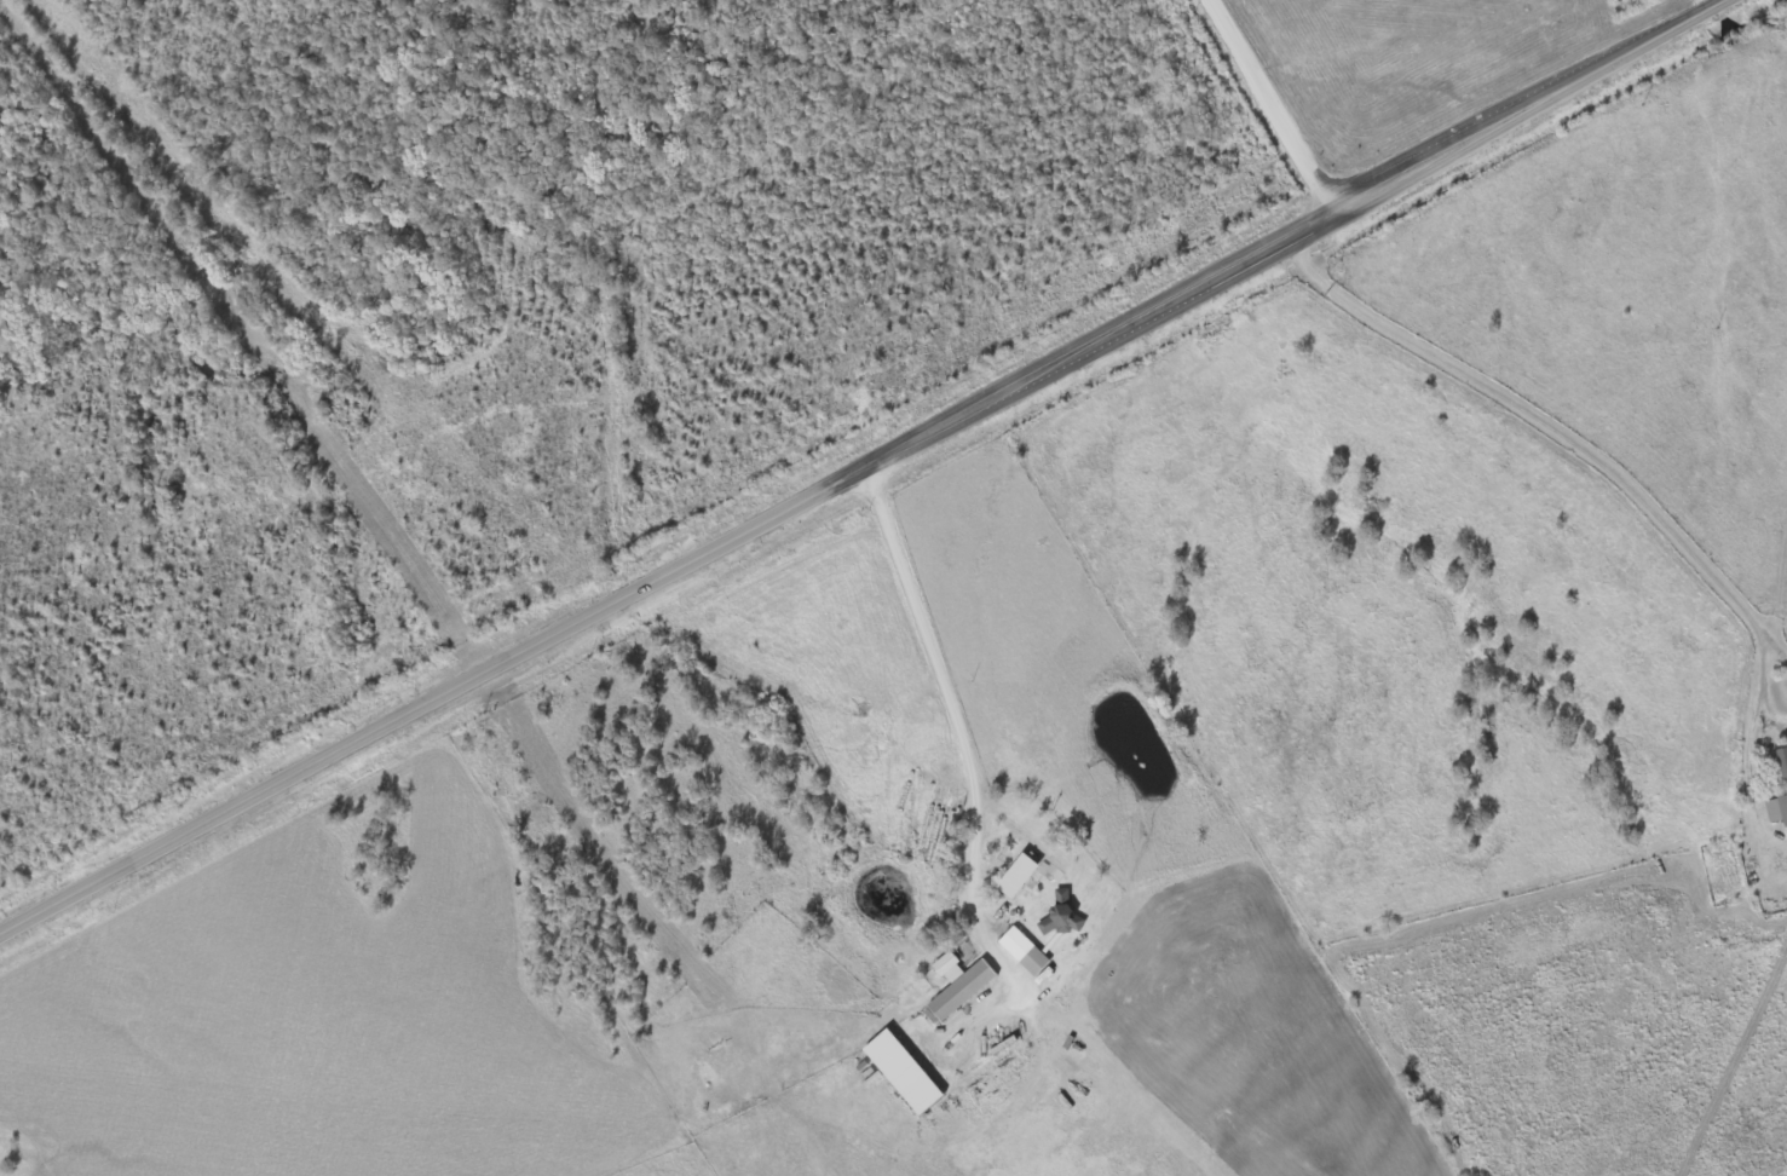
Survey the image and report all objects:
road: (1753, 47)
road: (1270, 105)
road: (860, 467)
building: (1782, 762)
building: (1777, 811)
building: (1016, 877)
building: (1062, 917)
building: (1024, 952)
building: (957, 986)
building: (901, 1073)

